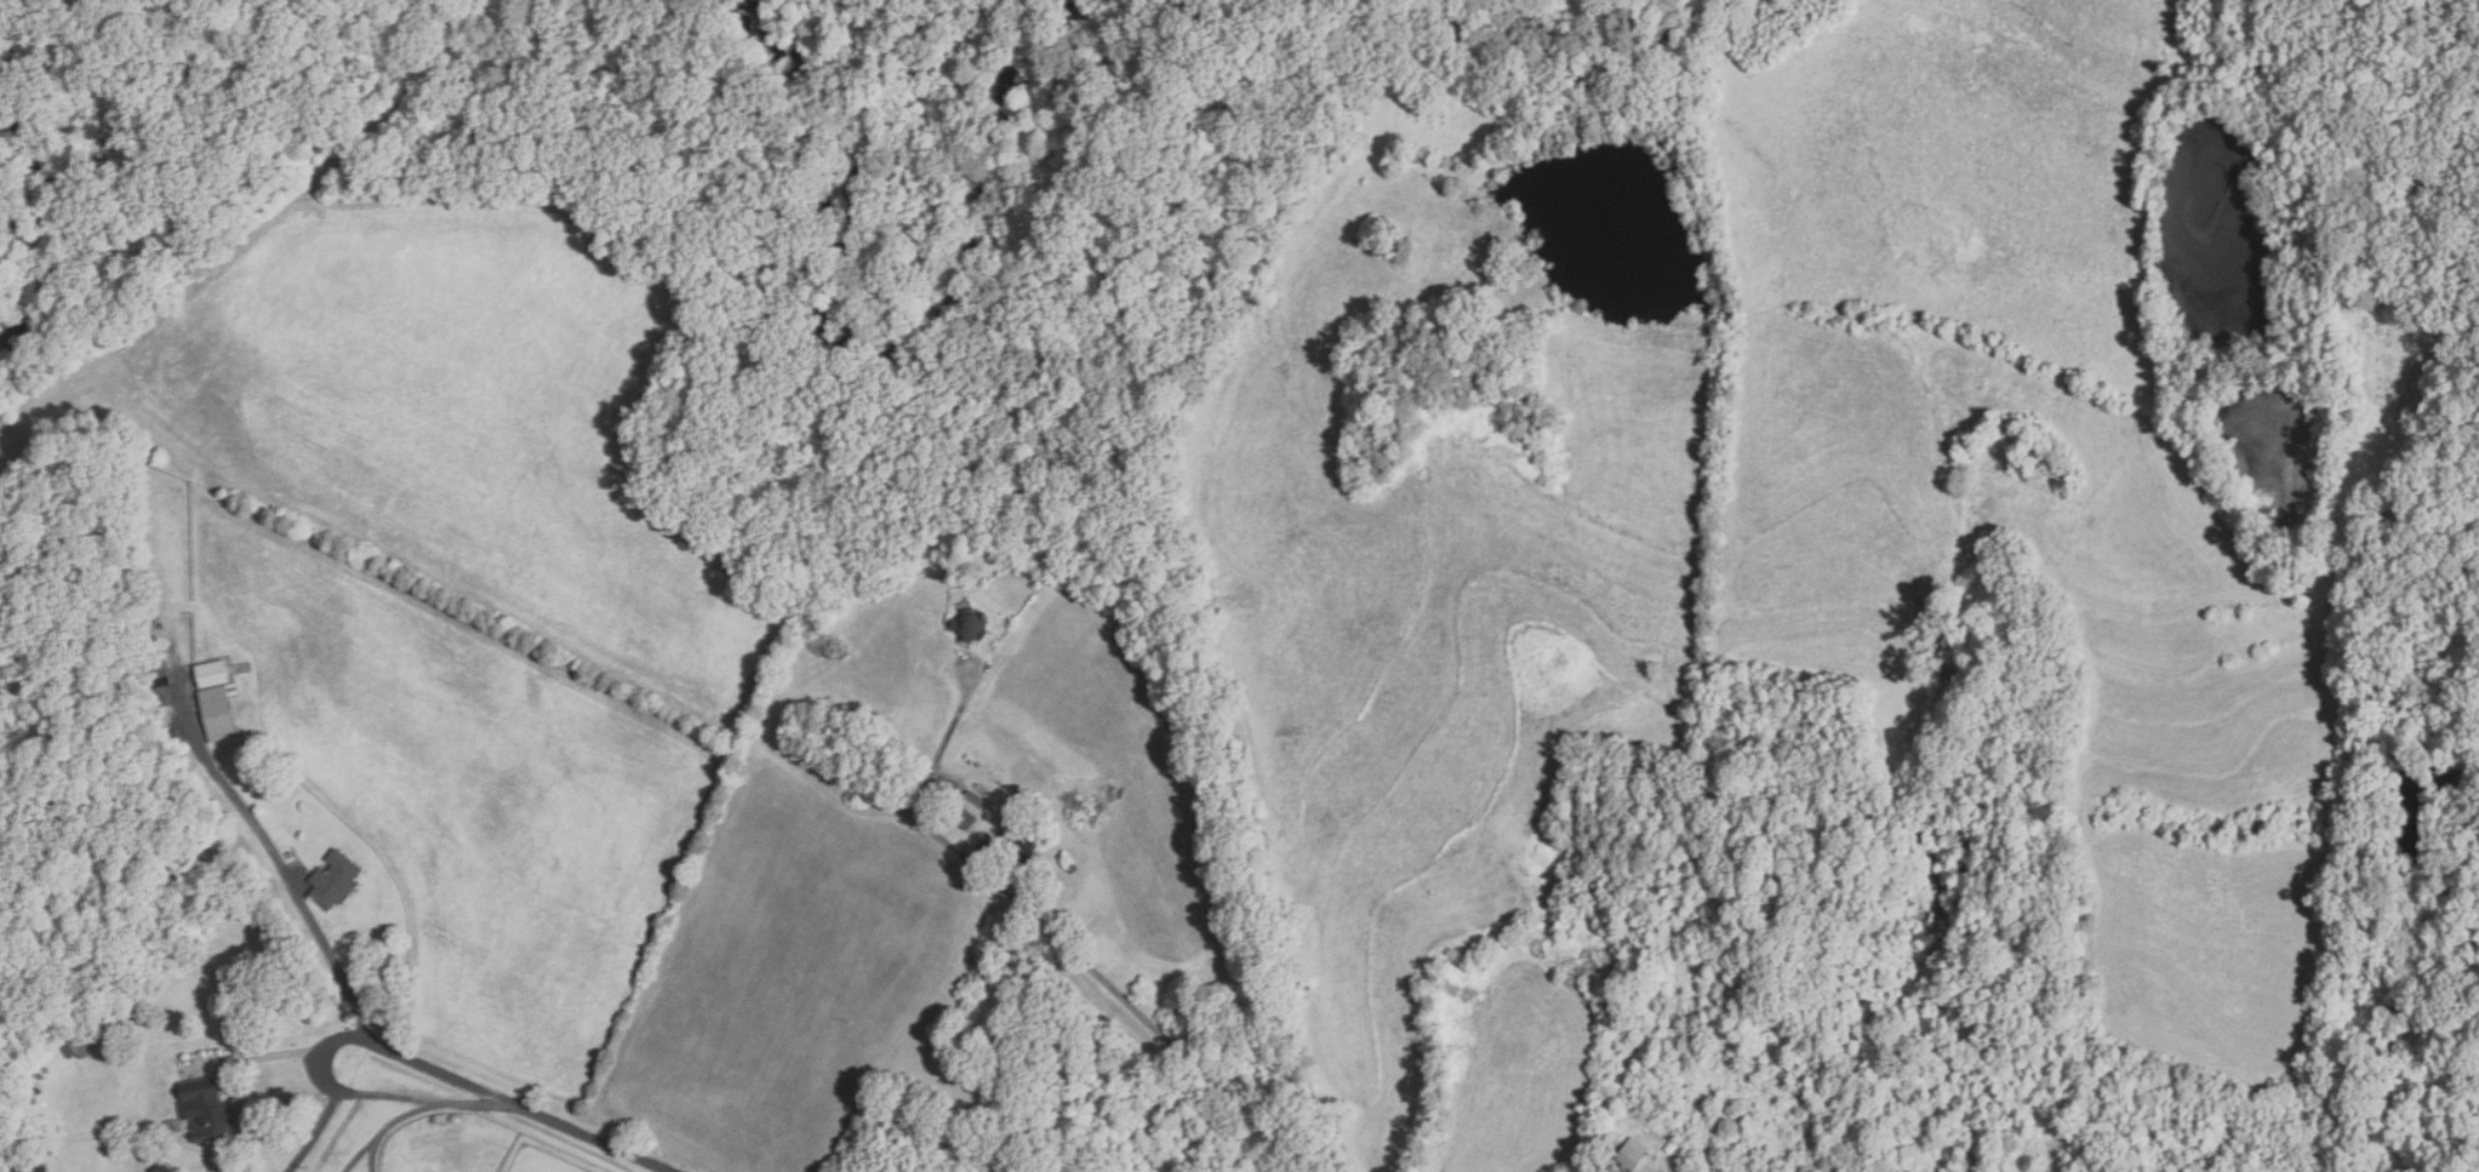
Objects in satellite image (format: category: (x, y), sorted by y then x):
river: (1480, 41)
river: (1605, 46)
river: (1530, 67)
river: (41, 201)
river: (1612, 212)
river: (2194, 224)
river: (873, 318)
river: (2264, 457)
building: (971, 627)
building: (212, 673)
building: (161, 685)
building: (219, 711)
building: (176, 737)
building: (969, 810)
building: (239, 847)
building: (1021, 852)
building: (290, 854)
building: (1068, 863)
building: (335, 880)
river: (2403, 881)
river: (1919, 884)
road: (312, 928)
road: (1062, 947)
building: (78, 1045)
road: (337, 1091)
road: (352, 1093)
road: (362, 1099)
building: (206, 1109)
road: (423, 1109)
building: (1124, 1128)
road: (592, 1137)
building: (1672, 1148)
building: (1633, 1153)
road: (362, 1154)
building: (1193, 1156)
road: (1593, 1164)
building: (164, 1167)
building: (32, 1168)

